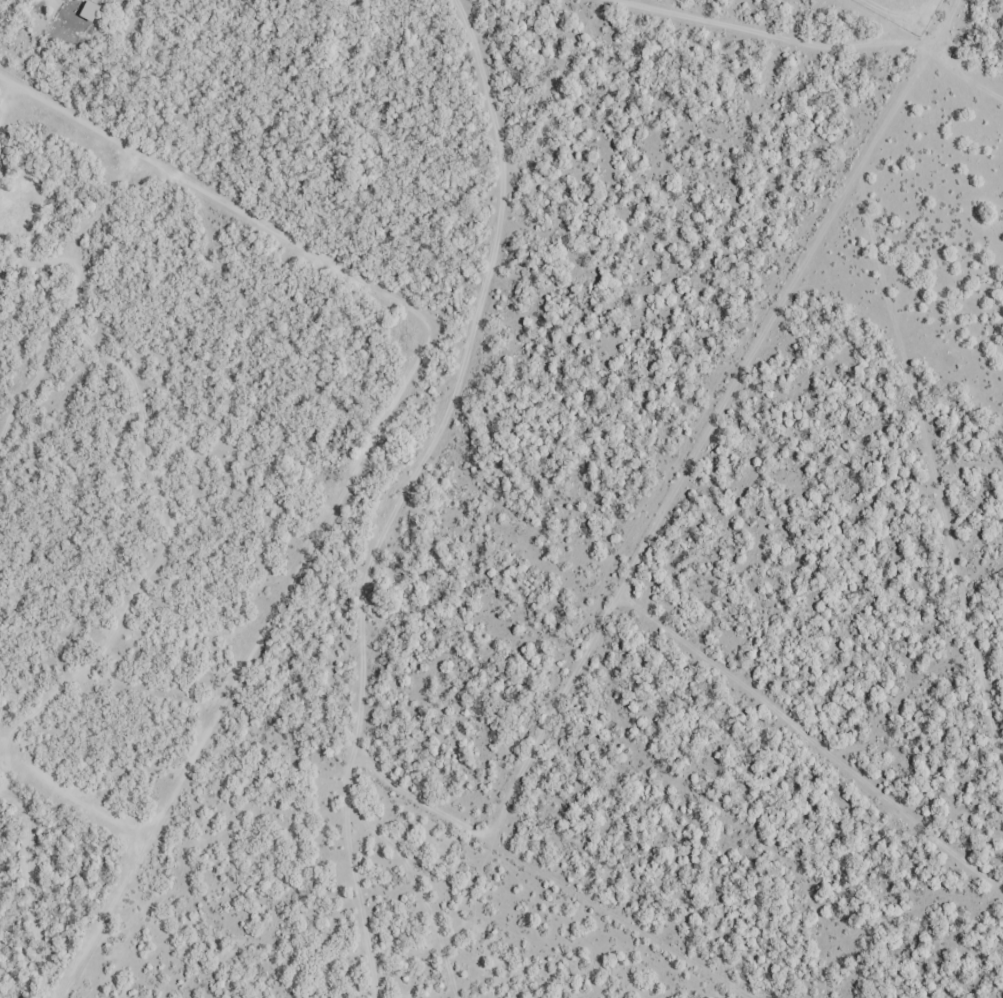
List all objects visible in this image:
building: (86, 10)
road: (980, 107)
road: (486, 249)
road: (341, 491)
road: (682, 519)

